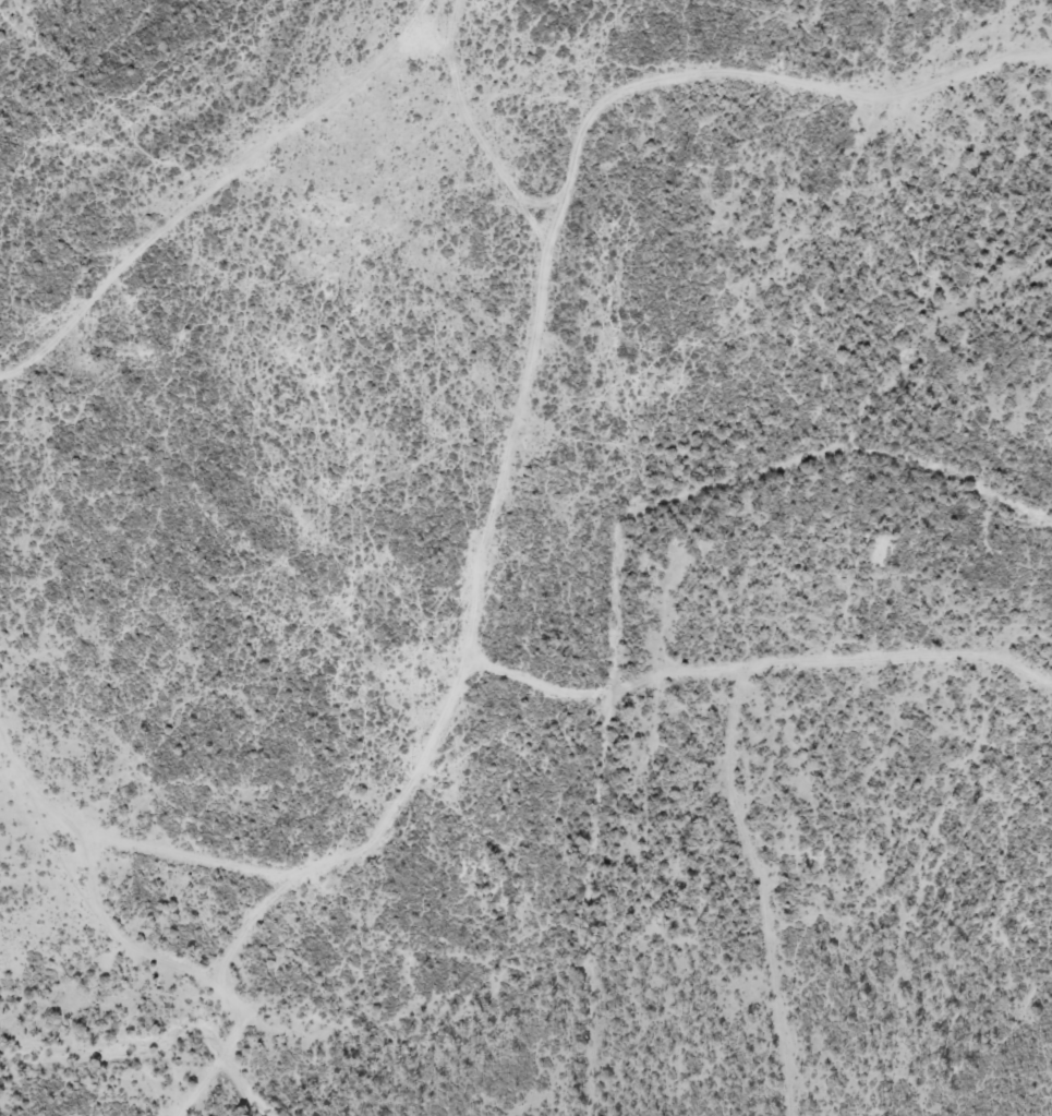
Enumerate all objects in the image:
road: (473, 127)
road: (516, 454)
road: (19, 806)

